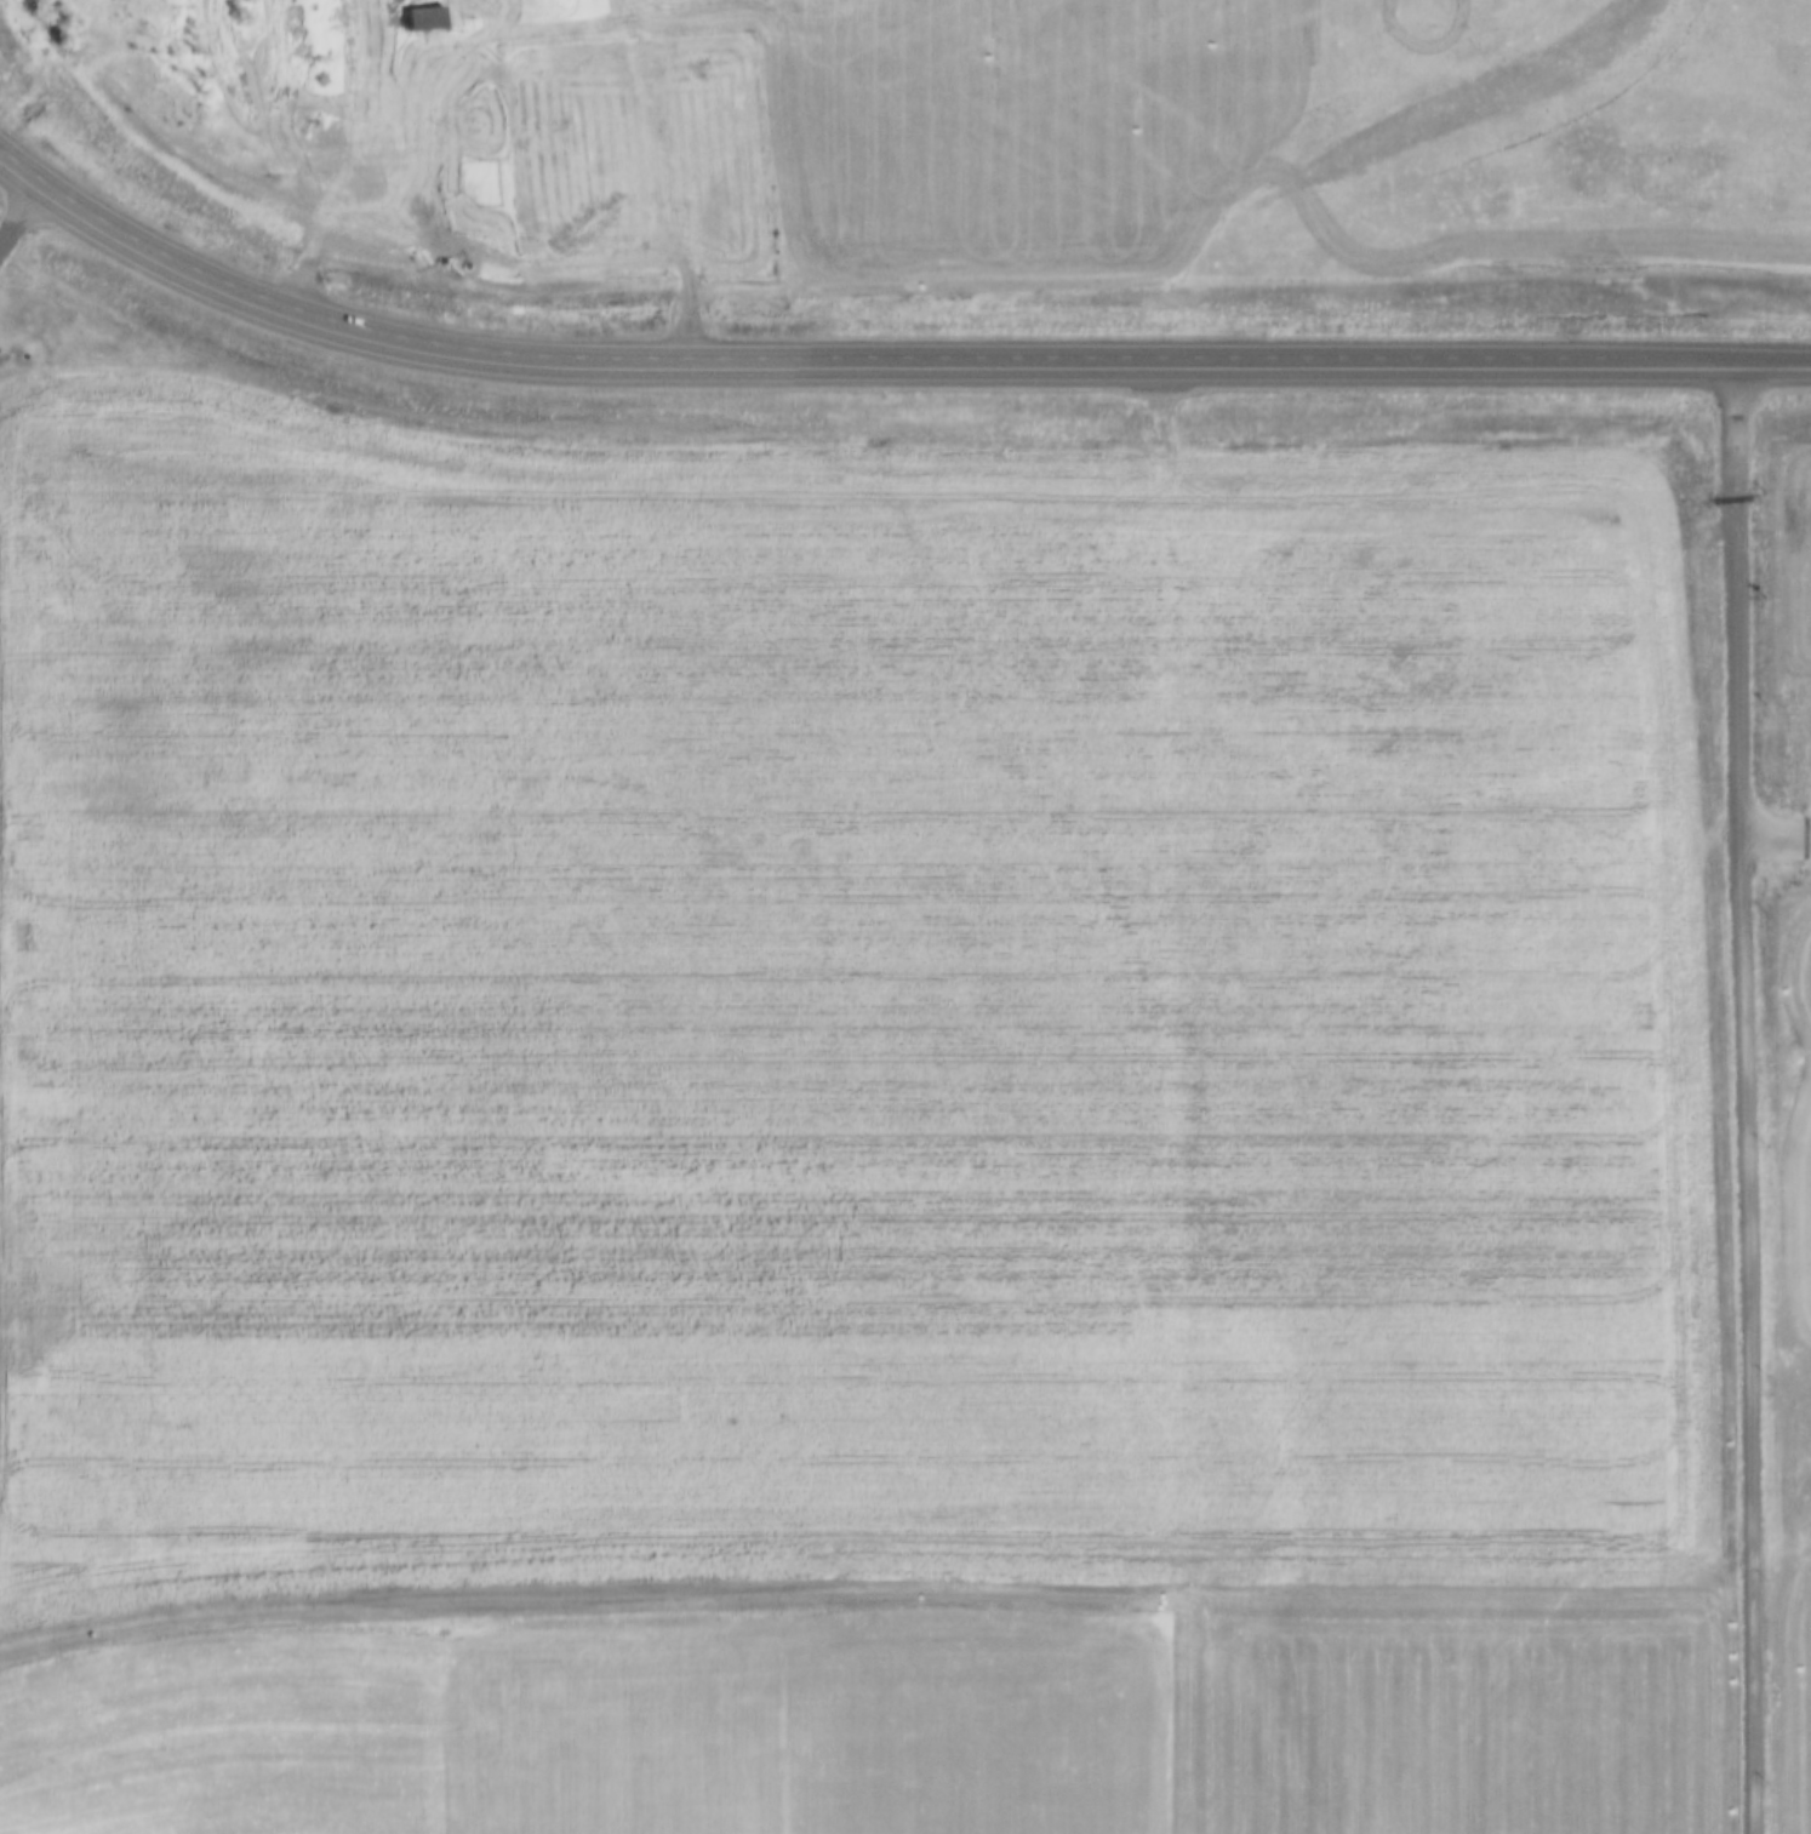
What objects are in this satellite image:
building: (424, 19)
road: (335, 177)
road: (15, 217)
road: (881, 362)
road: (1775, 842)
road: (1146, 1098)
road: (1741, 1099)

